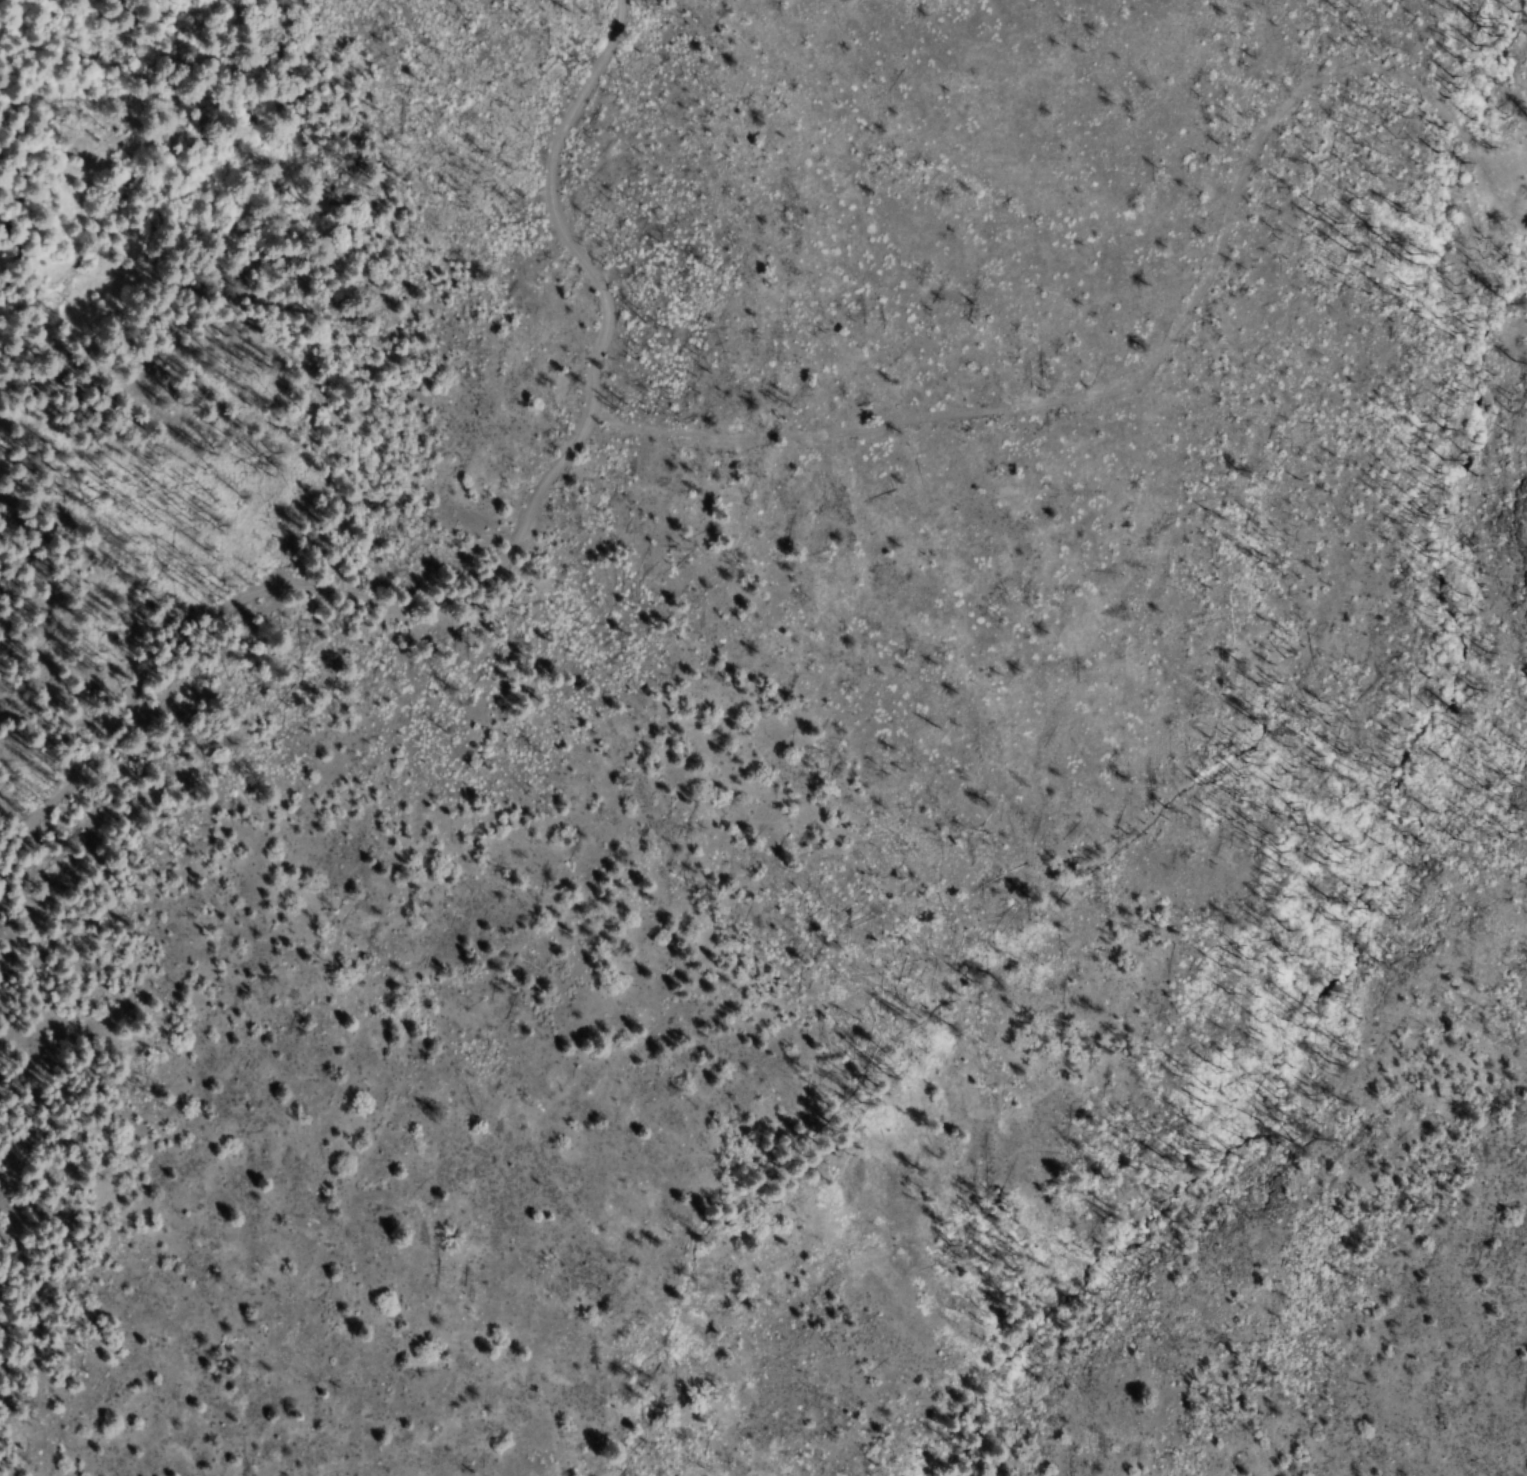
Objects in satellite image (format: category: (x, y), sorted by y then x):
road: (1157, 328)
road: (594, 418)
road: (458, 597)

